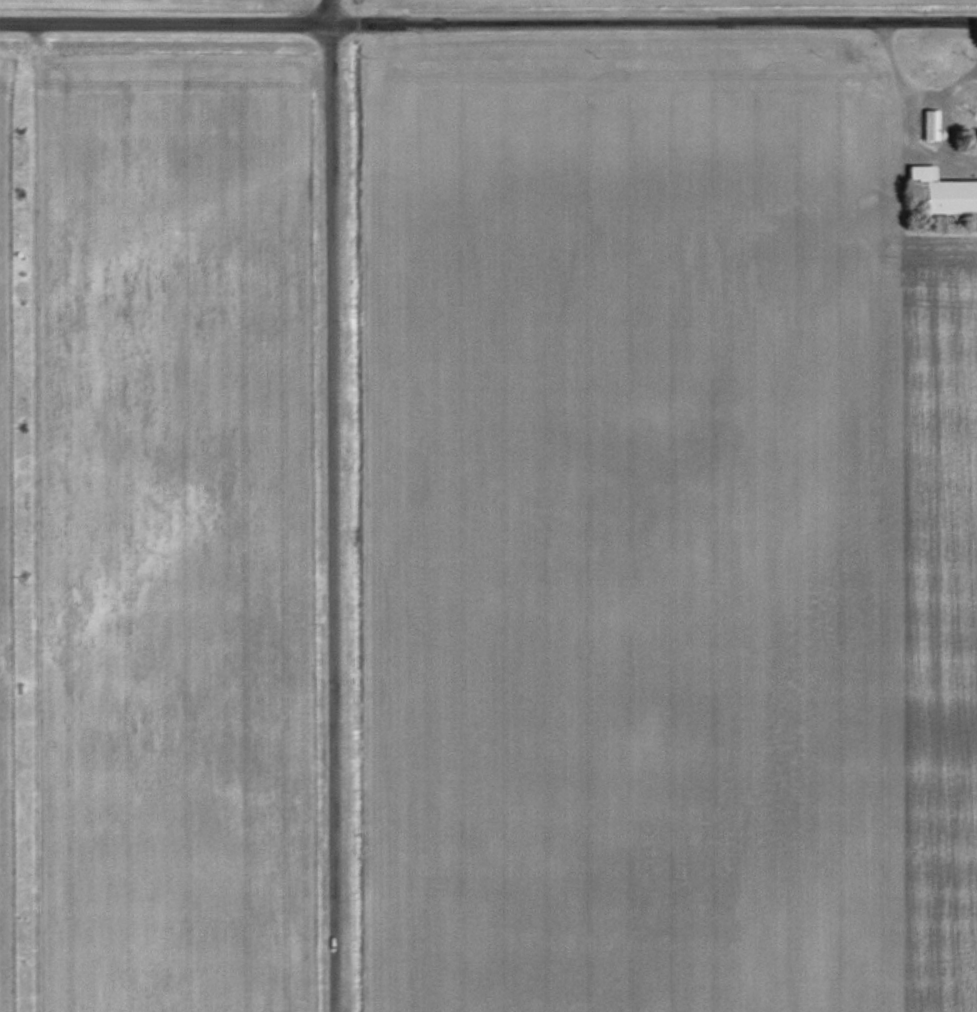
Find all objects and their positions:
road: (488, 21)
road: (976, 23)
road: (906, 89)
building: (929, 124)
road: (914, 153)
building: (943, 192)
road: (332, 505)

